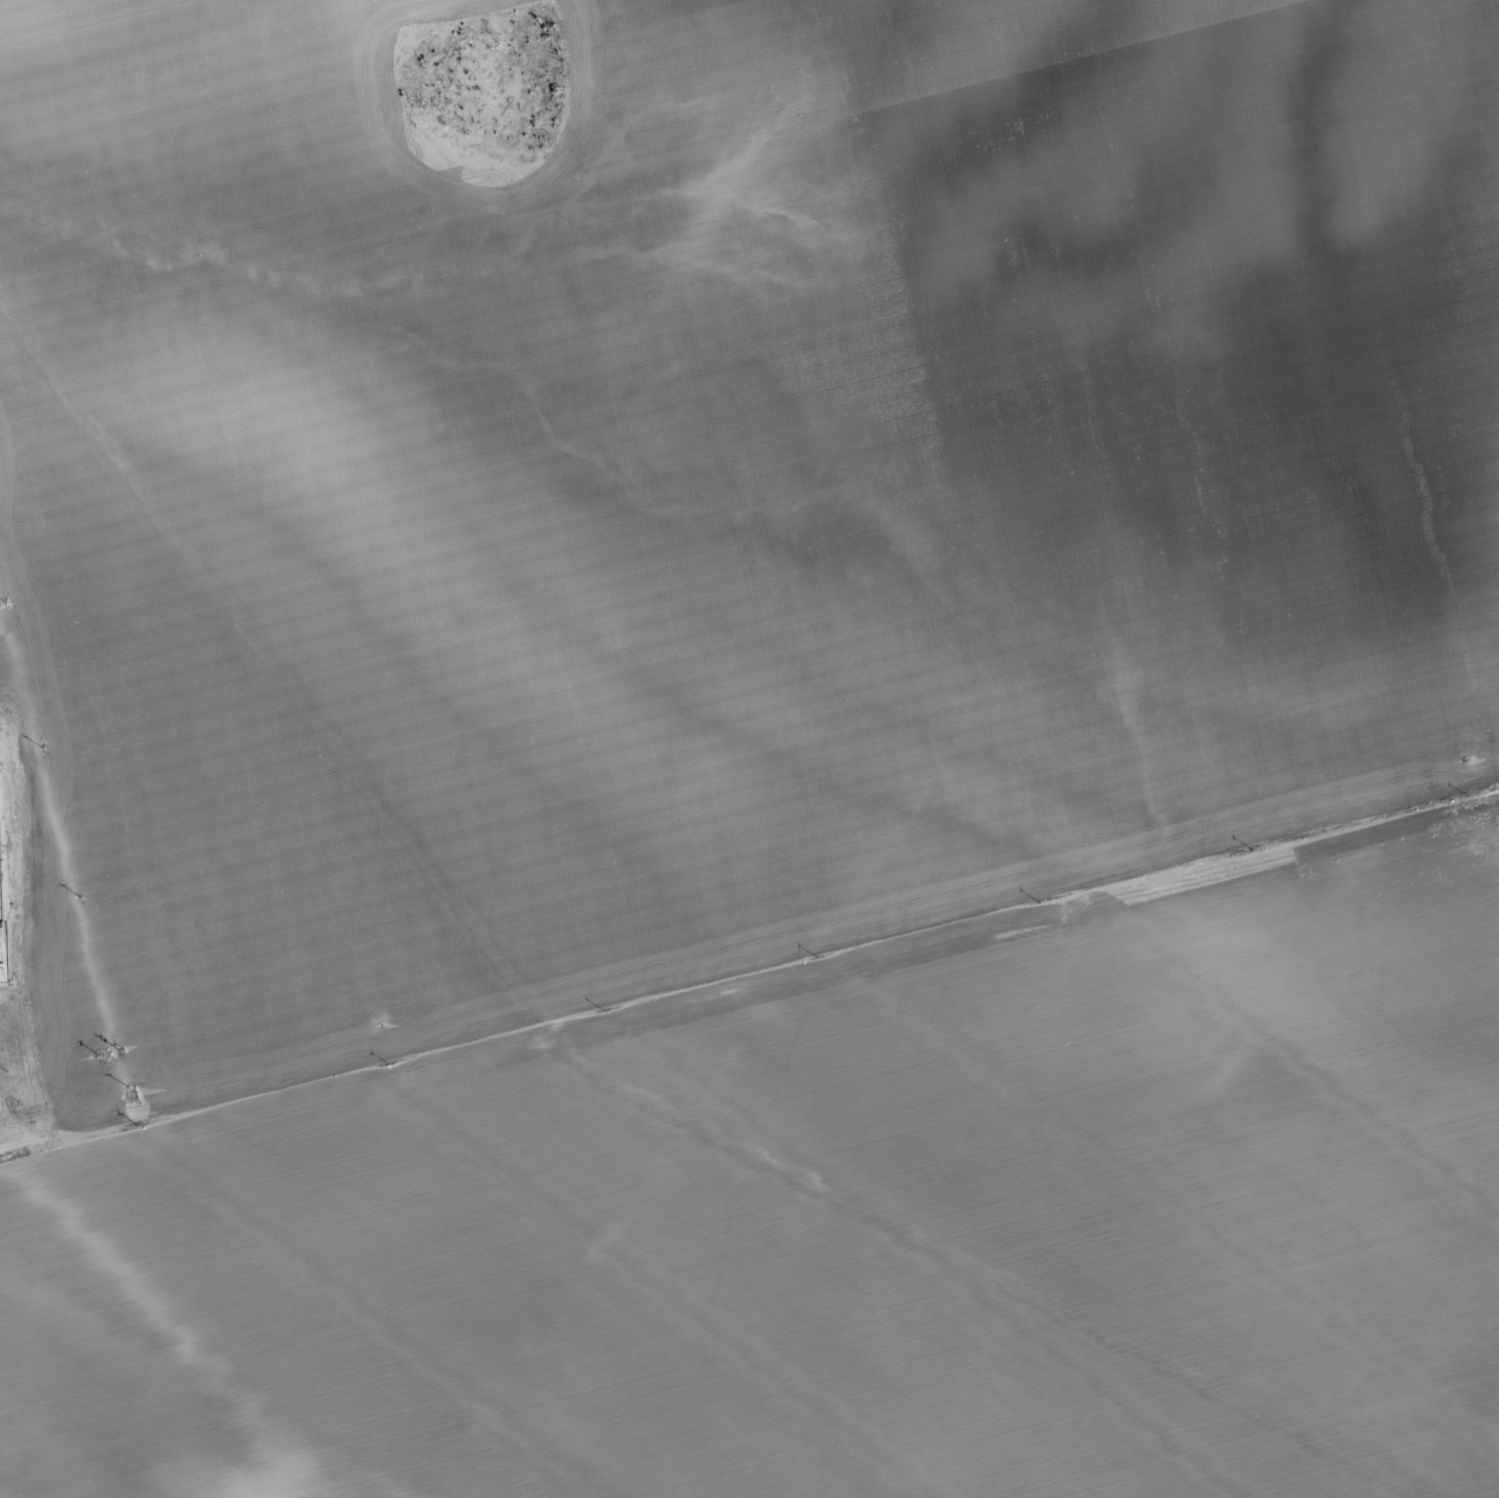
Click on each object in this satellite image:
road: (15, 1161)

